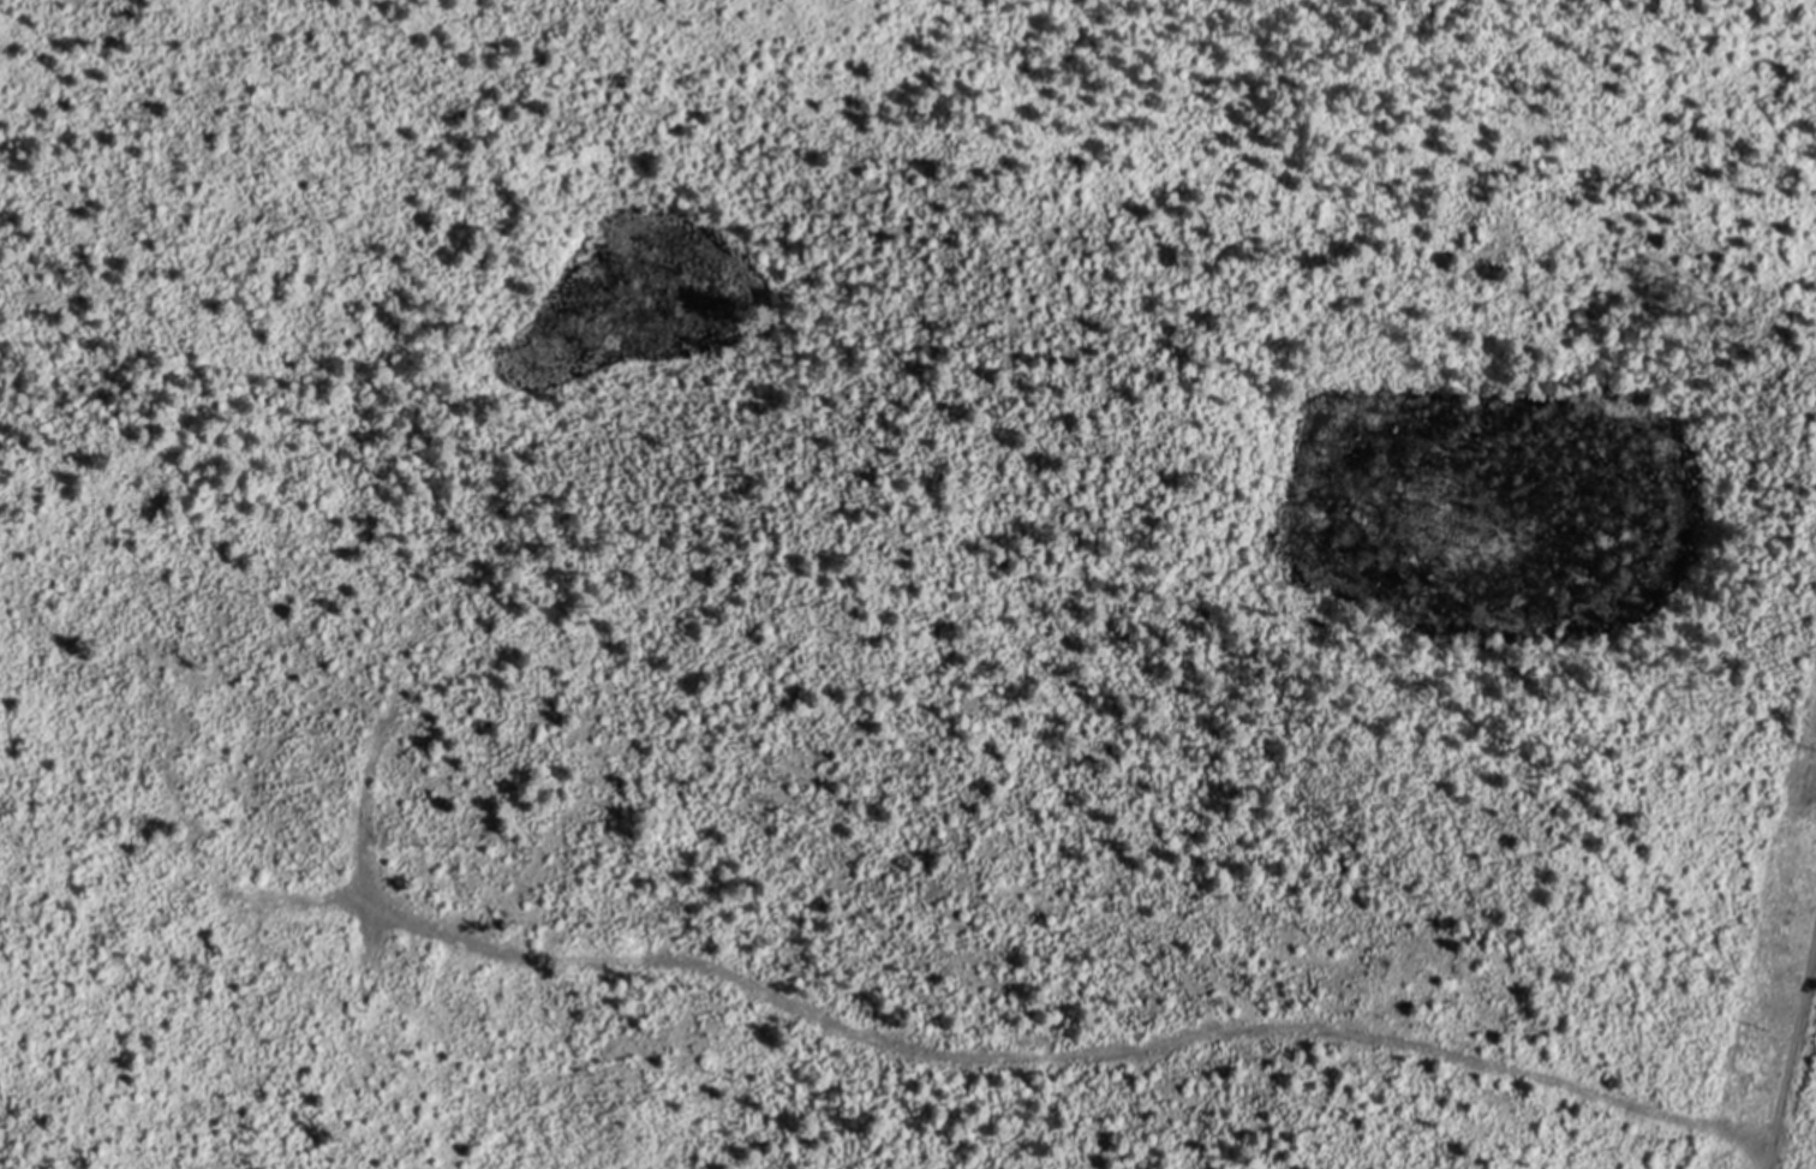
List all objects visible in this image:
power tower: (1780, 1027)

